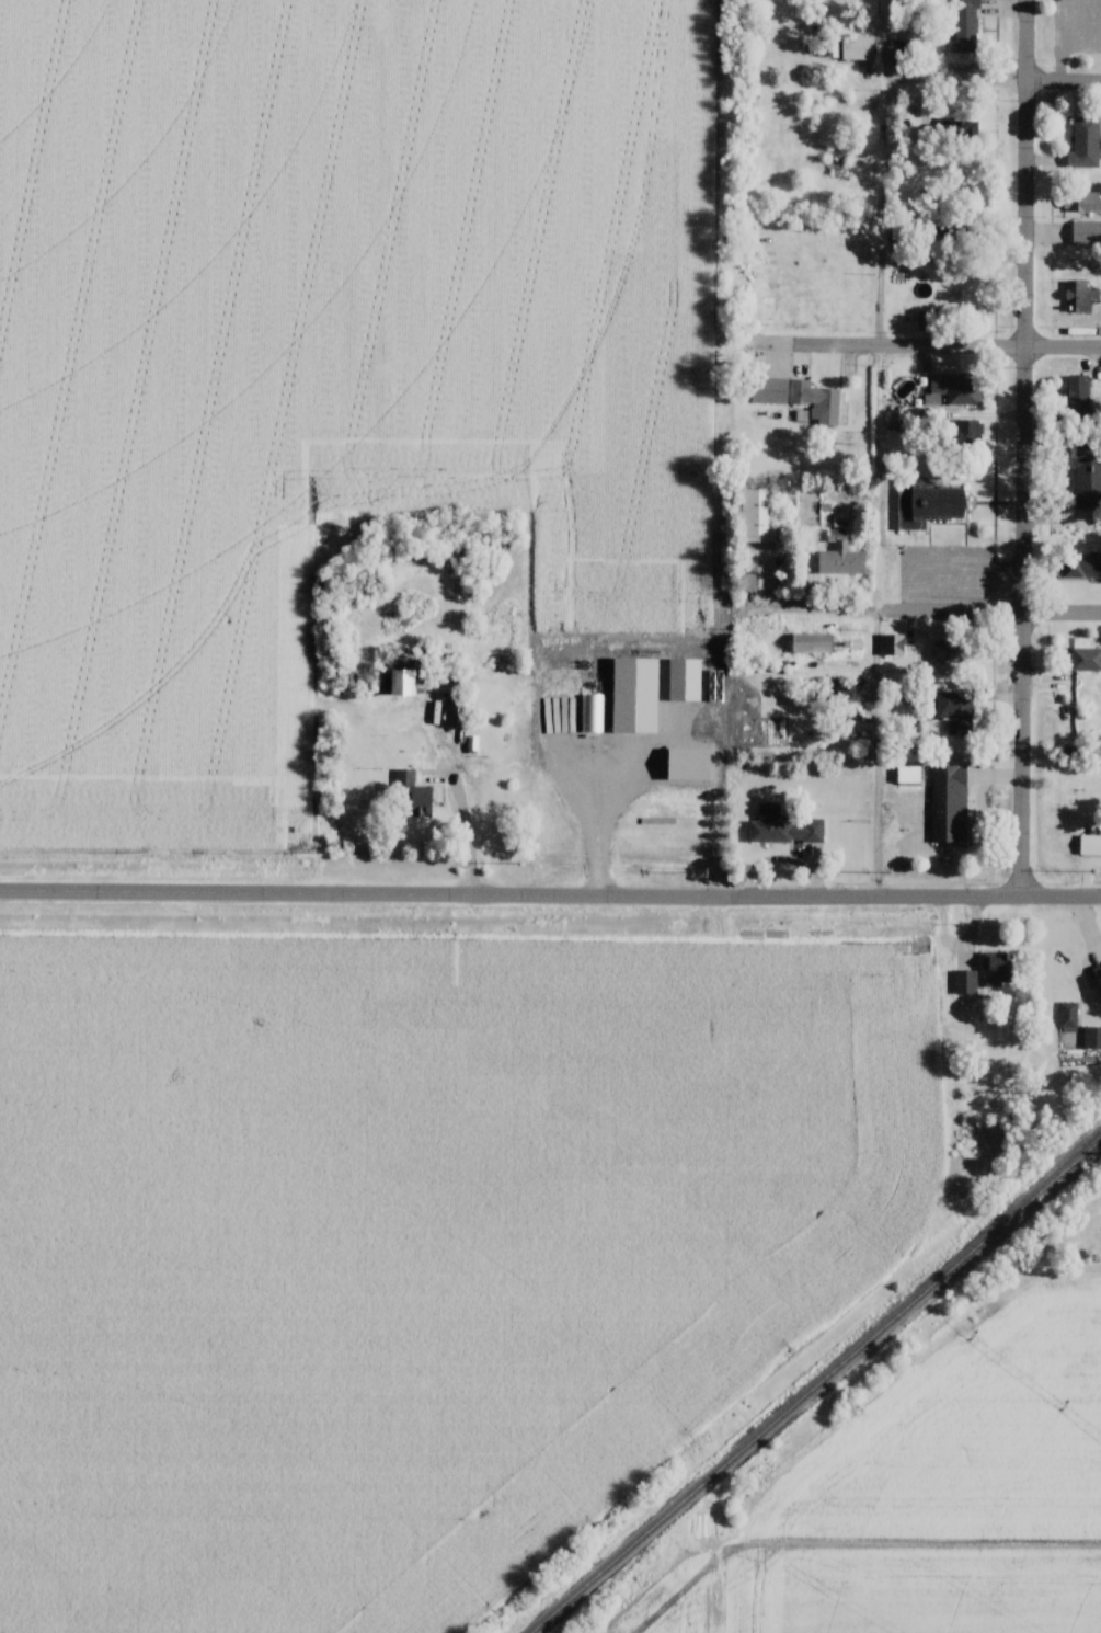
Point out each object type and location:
building: (965, 26)
road: (1063, 39)
building: (858, 47)
building: (901, 52)
road: (1065, 80)
building: (948, 133)
building: (1085, 142)
building: (1081, 203)
building: (1086, 233)
building: (1079, 297)
building: (965, 301)
building: (925, 321)
road: (952, 346)
building: (957, 390)
building: (1077, 397)
building: (798, 398)
building: (968, 431)
road: (1027, 448)
building: (1087, 480)
building: (929, 505)
building: (758, 515)
building: (840, 558)
building: (1087, 566)
road: (835, 610)
road: (993, 612)
building: (813, 642)
building: (893, 644)
building: (945, 653)
building: (1087, 658)
building: (400, 681)
building: (592, 711)
building: (955, 711)
building: (455, 712)
road: (881, 754)
building: (908, 775)
building: (411, 796)
building: (948, 801)
road: (603, 823)
building: (782, 827)
road: (472, 829)
road: (550, 895)
building: (1060, 967)
building: (996, 969)
building: (964, 981)
building: (1066, 1014)
building: (1091, 1036)
crop: (406, 1248)
railway: (818, 1389)
crop: (971, 1435)
crop: (893, 1596)

